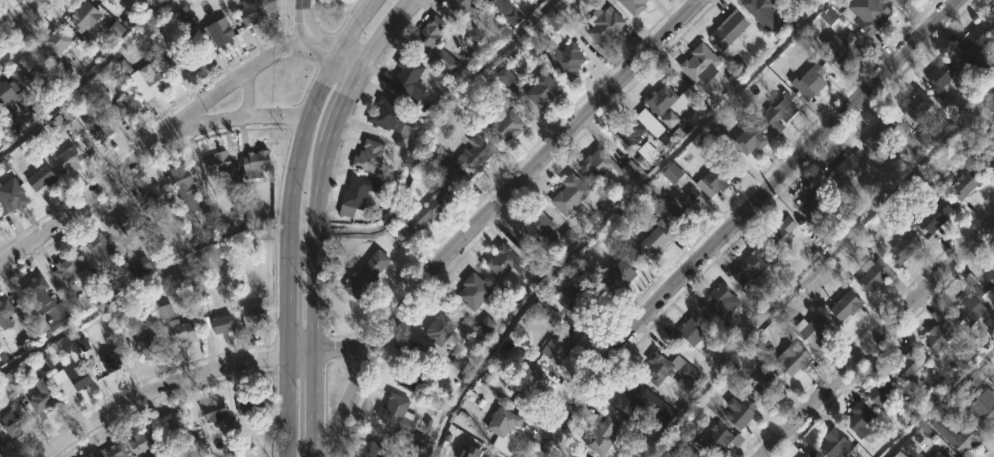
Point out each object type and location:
building: (117, 0)
building: (487, 0)
building: (903, 1)
building: (108, 2)
building: (463, 5)
building: (635, 5)
building: (758, 6)
building: (252, 11)
building: (85, 16)
building: (875, 18)
road: (21, 21)
building: (560, 24)
building: (604, 25)
building: (730, 29)
road: (358, 30)
building: (220, 33)
building: (426, 33)
road: (390, 36)
building: (56, 41)
road: (323, 44)
building: (974, 44)
building: (843, 48)
building: (186, 58)
building: (566, 59)
building: (700, 62)
building: (449, 64)
building: (35, 68)
building: (943, 73)
building: (153, 76)
building: (407, 76)
road: (84, 79)
building: (811, 81)
building: (544, 90)
road: (249, 92)
building: (17, 98)
building: (661, 99)
building: (914, 103)
building: (126, 106)
road: (344, 110)
building: (781, 111)
building: (505, 117)
road: (240, 118)
building: (394, 121)
building: (98, 127)
building: (631, 131)
building: (880, 136)
building: (749, 140)
road: (154, 144)
building: (72, 156)
building: (369, 156)
building: (465, 159)
building: (989, 159)
road: (296, 162)
building: (218, 163)
building: (257, 164)
building: (599, 164)
building: (848, 170)
building: (40, 177)
building: (716, 178)
building: (969, 183)
building: (185, 185)
building: (13, 194)
building: (571, 194)
building: (355, 196)
building: (154, 200)
building: (819, 205)
building: (685, 206)
building: (430, 210)
road: (485, 211)
building: (933, 214)
building: (126, 218)
road: (739, 219)
building: (537, 225)
building: (782, 234)
building: (658, 237)
building: (906, 247)
road: (317, 248)
building: (95, 249)
building: (503, 260)
building: (141, 267)
building: (751, 267)
building: (67, 269)
building: (621, 271)
building: (875, 275)
building: (367, 276)
building: (991, 276)
road: (137, 283)
building: (475, 292)
building: (586, 300)
building: (718, 300)
building: (47, 302)
building: (846, 306)
building: (972, 306)
building: (6, 311)
building: (165, 313)
road: (287, 313)
building: (256, 315)
building: (223, 324)
building: (442, 327)
building: (813, 329)
building: (181, 331)
building: (687, 334)
building: (939, 334)
road: (876, 337)
building: (150, 346)
building: (560, 347)
road: (332, 348)
building: (795, 360)
building: (113, 362)
building: (460, 363)
building: (910, 366)
building: (414, 368)
building: (668, 371)
building: (80, 380)
building: (767, 383)
building: (532, 387)
building: (881, 390)
road: (155, 391)
road: (319, 398)
building: (631, 399)
building: (43, 400)
building: (252, 405)
road: (287, 405)
building: (215, 410)
building: (398, 413)
building: (741, 413)
building: (987, 415)
building: (862, 419)
building: (503, 422)
building: (12, 423)
building: (177, 423)
building: (956, 432)
building: (602, 436)
building: (141, 439)
building: (721, 440)
building: (835, 443)
building: (114, 450)
building: (376, 450)
road: (317, 451)
building: (475, 453)
building: (942, 454)
building: (669, 455)
building: (686, 455)
building: (694, 455)
building: (810, 455)
building: (580, 456)

